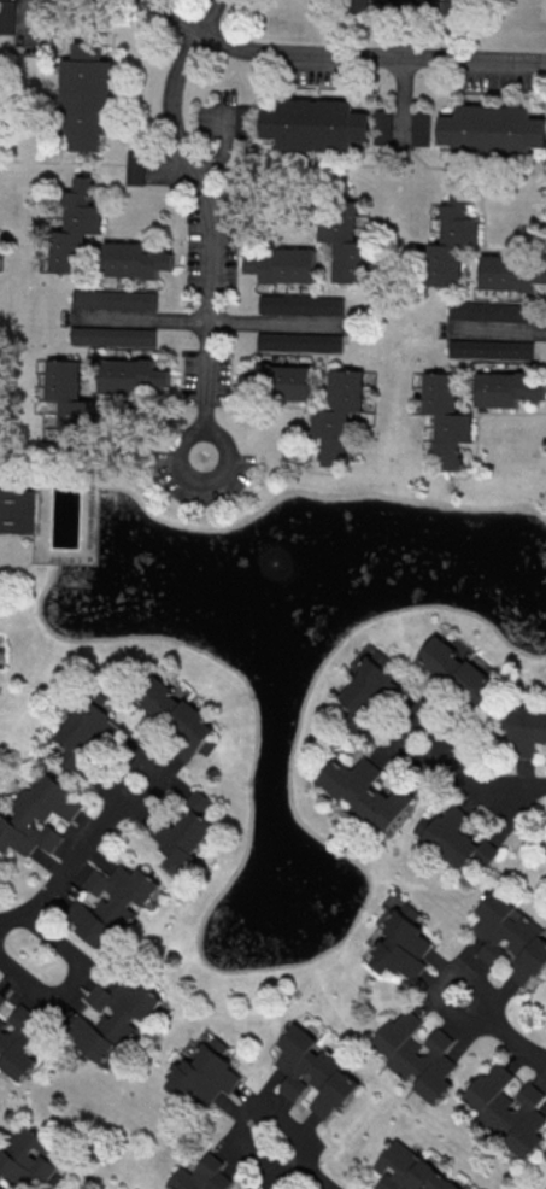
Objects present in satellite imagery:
road: (376, 5)
building: (391, 5)
building: (425, 6)
building: (352, 12)
building: (459, 12)
road: (212, 17)
road: (30, 20)
road: (329, 24)
road: (406, 29)
road: (482, 30)
road: (28, 47)
road: (340, 55)
parking lot: (317, 70)
building: (87, 95)
road: (404, 102)
road: (18, 104)
parking lot: (217, 115)
building: (245, 122)
building: (316, 125)
building: (383, 128)
parking lot: (403, 128)
building: (422, 129)
building: (493, 131)
road: (224, 151)
road: (64, 160)
road: (345, 164)
building: (137, 166)
road: (83, 169)
road: (107, 194)
road: (483, 199)
building: (75, 232)
road: (125, 235)
building: (345, 240)
building: (453, 241)
road: (186, 244)
parking lot: (211, 244)
road: (239, 244)
building: (135, 263)
building: (286, 269)
building: (511, 273)
building: (117, 299)
road: (211, 304)
building: (303, 304)
building: (494, 310)
road: (201, 320)
parking lot: (493, 329)
road: (497, 330)
building: (115, 335)
building: (301, 341)
building: (493, 348)
building: (133, 375)
road: (182, 376)
parking lot: (206, 376)
road: (231, 377)
building: (281, 381)
building: (509, 388)
road: (110, 399)
building: (71, 404)
road: (307, 412)
building: (340, 412)
building: (448, 417)
road: (174, 461)
road: (76, 462)
road: (162, 462)
parking lot: (175, 480)
building: (17, 512)
road: (17, 534)
building: (460, 675)
building: (368, 695)
building: (176, 715)
building: (89, 728)
building: (528, 732)
road: (476, 784)
building: (366, 792)
building: (39, 816)
building: (184, 831)
building: (459, 842)
road: (75, 860)
building: (115, 903)
building: (510, 935)
building: (401, 947)
road: (70, 982)
building: (2, 997)
building: (113, 1018)
road: (501, 1032)
building: (18, 1042)
building: (421, 1055)
building: (315, 1070)
building: (205, 1072)
building: (509, 1109)
building: (25, 1158)
road: (304, 1164)
building: (410, 1170)
building: (205, 1176)
road: (74, 1179)
building: (1, 1188)

